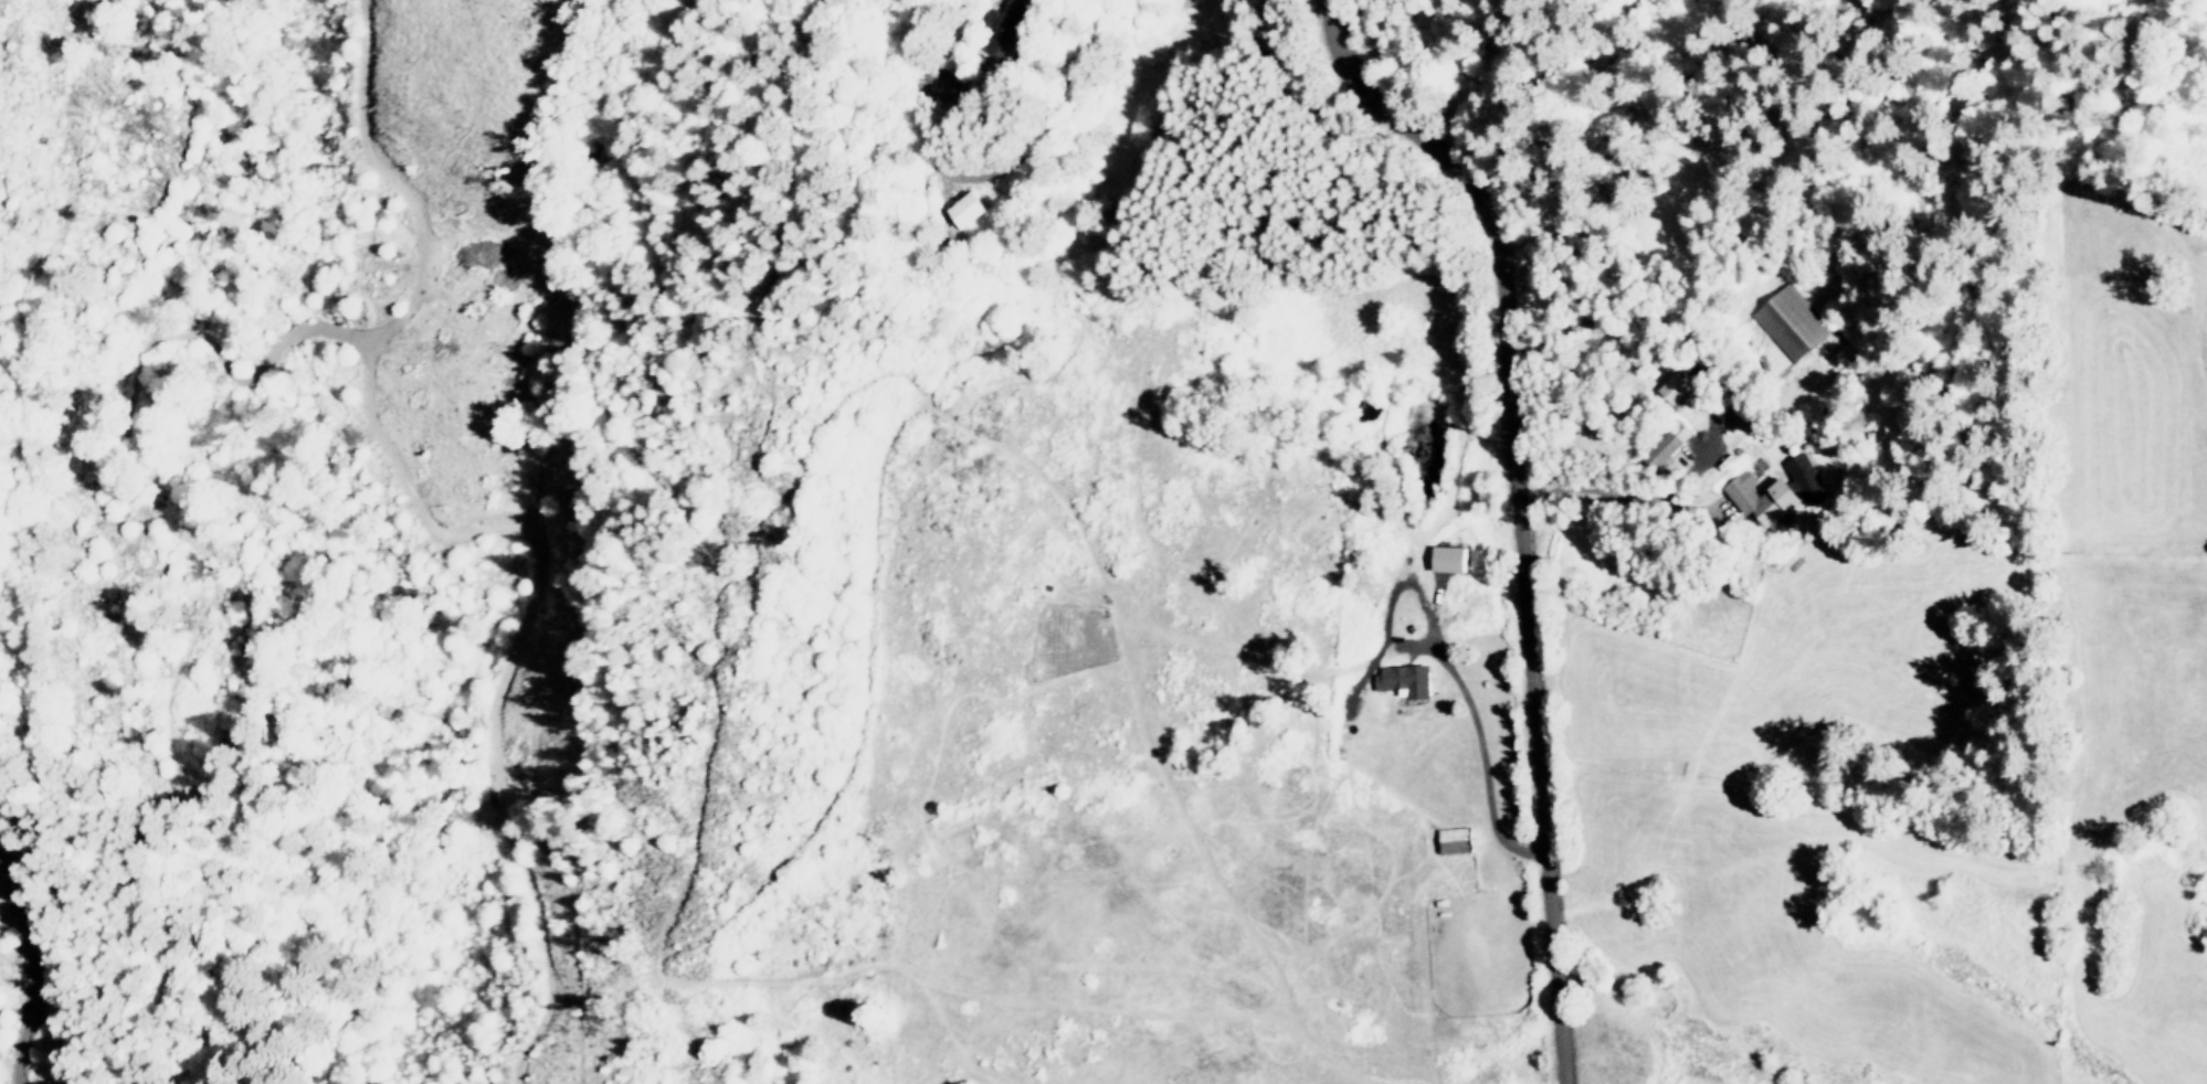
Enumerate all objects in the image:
building: (1005, 25)
road: (1070, 75)
building: (965, 208)
building: (1793, 321)
building: (1668, 443)
building: (1808, 478)
road: (1627, 491)
building: (1764, 496)
road: (1520, 511)
building: (1450, 557)
building: (1408, 679)
road: (1486, 755)
building: (1458, 839)

